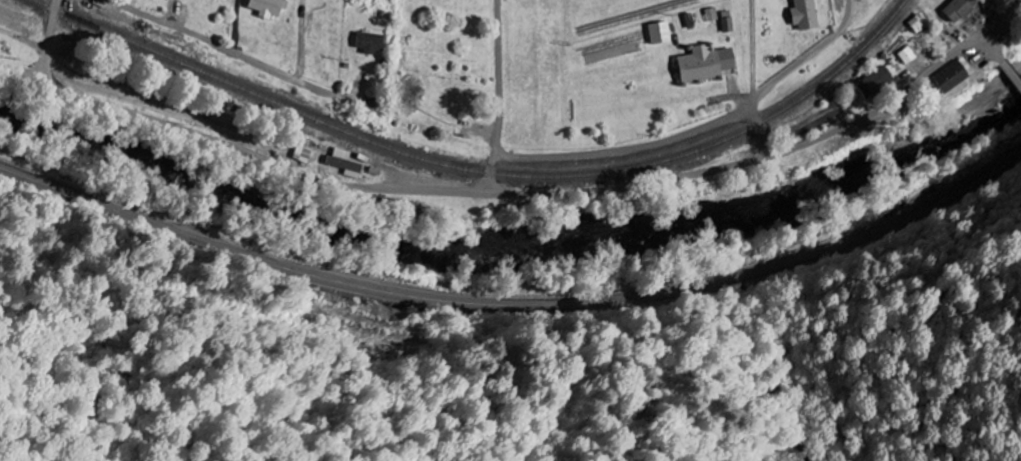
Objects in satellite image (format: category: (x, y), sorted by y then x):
road: (1013, 3)
road: (1019, 4)
building: (266, 7)
building: (956, 9)
building: (802, 14)
road: (999, 26)
building: (657, 32)
road: (47, 40)
building: (367, 42)
road: (219, 46)
road: (995, 53)
building: (905, 54)
building: (702, 63)
road: (1012, 70)
road: (787, 71)
building: (950, 75)
building: (871, 81)
road: (499, 95)
building: (301, 148)
road: (627, 148)
building: (341, 161)
railway: (481, 169)
road: (498, 190)
river: (517, 241)
road: (513, 304)

